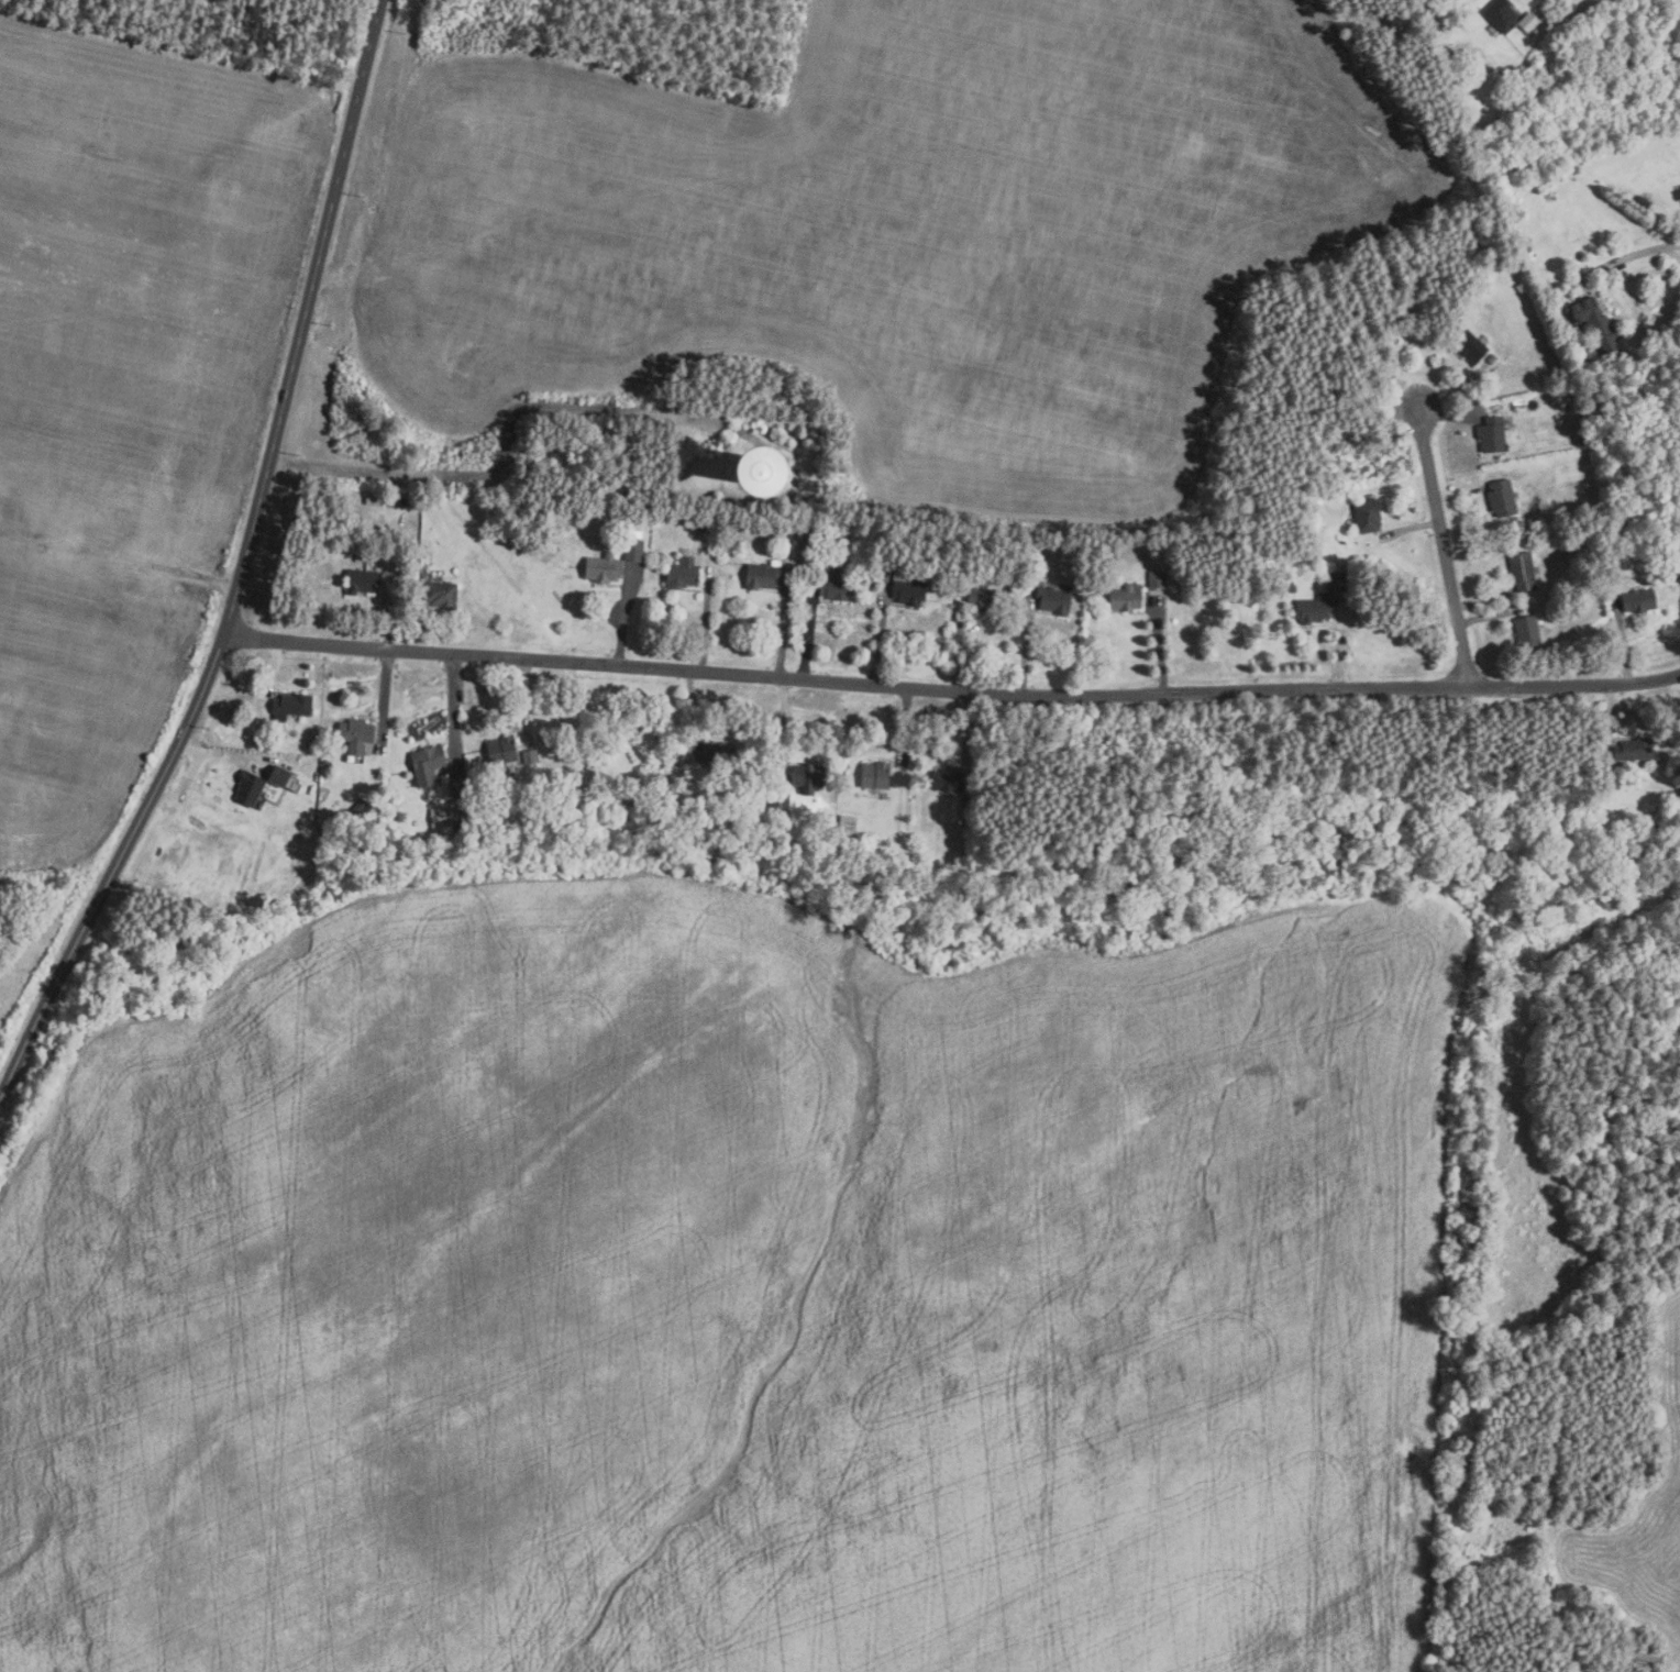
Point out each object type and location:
road: (1539, 11)
building: (1502, 14)
road: (1621, 258)
building: (1598, 324)
building: (1585, 331)
building: (1471, 346)
building: (1493, 359)
road: (1449, 388)
road: (1446, 416)
building: (1493, 433)
building: (1588, 440)
road: (510, 445)
water tower: (755, 456)
building: (732, 472)
road: (1458, 491)
building: (1503, 497)
building: (1369, 514)
building: (704, 525)
building: (793, 529)
road: (1411, 530)
building: (814, 541)
road: (1446, 545)
building: (634, 549)
building: (1675, 561)
building: (604, 566)
building: (1524, 571)
road: (244, 572)
building: (683, 572)
building: (763, 574)
building: (1158, 578)
building: (363, 579)
building: (1337, 580)
building: (833, 584)
building: (1291, 585)
building: (908, 589)
building: (441, 594)
building: (1126, 598)
building: (985, 599)
building: (1055, 599)
road: (1483, 599)
building: (1639, 599)
building: (1315, 607)
road: (627, 616)
road: (420, 617)
road: (1488, 617)
road: (390, 621)
road: (704, 625)
building: (150, 627)
road: (783, 627)
road: (808, 628)
building: (1529, 630)
road: (882, 635)
road: (1341, 644)
road: (1159, 645)
road: (1625, 645)
road: (1026, 646)
road: (958, 647)
road: (273, 666)
road: (952, 690)
road: (385, 693)
road: (527, 698)
building: (291, 705)
road: (693, 709)
road: (1611, 711)
road: (906, 723)
road: (782, 730)
building: (356, 733)
road: (457, 735)
building: (313, 742)
road: (972, 742)
building: (1635, 749)
building: (502, 750)
building: (718, 753)
road: (223, 754)
building: (531, 756)
building: (327, 762)
building: (428, 763)
building: (671, 773)
building: (876, 774)
building: (279, 775)
building: (808, 775)
building: (948, 779)
building: (248, 787)
building: (782, 802)
building: (682, 809)
building: (968, 815)
building: (399, 816)
building: (442, 816)
building: (848, 823)
building: (1649, 1661)

